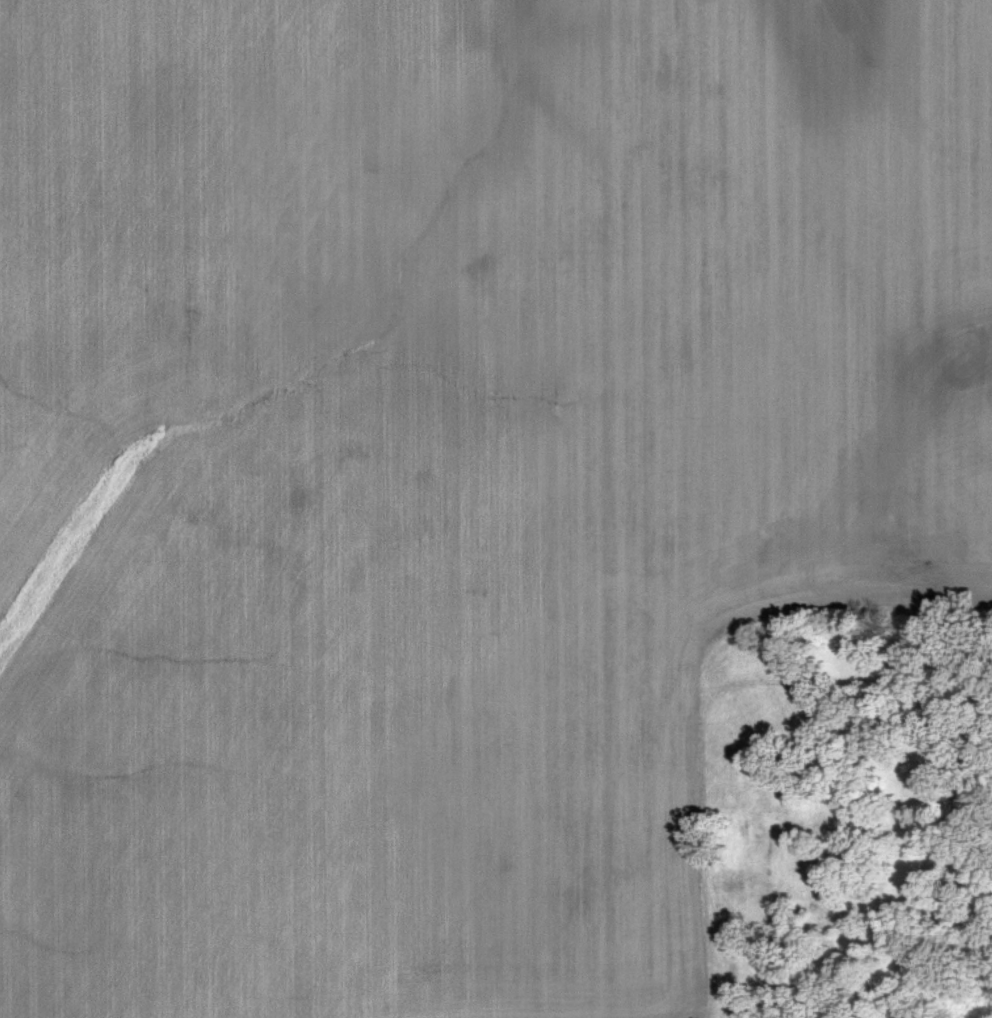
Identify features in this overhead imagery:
road: (955, 1010)

